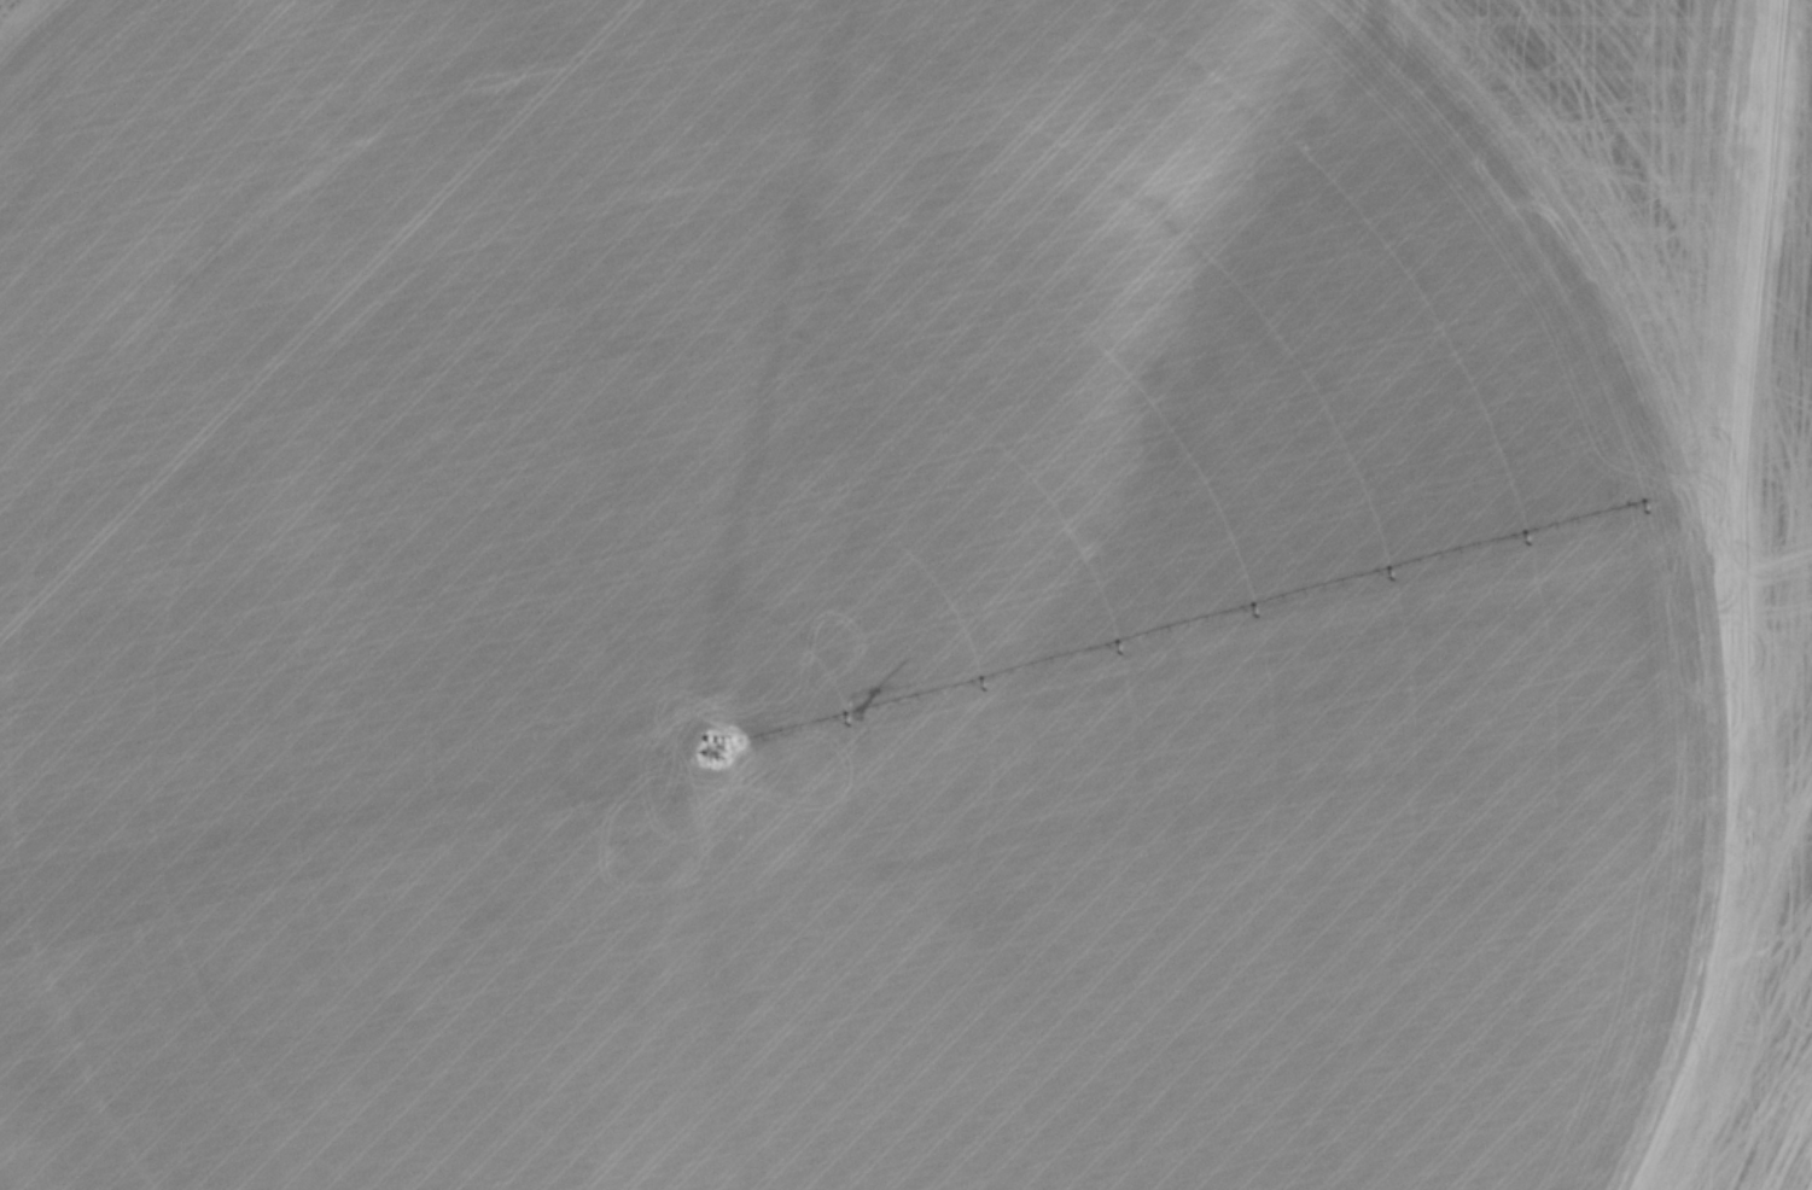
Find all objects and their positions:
crop: (818, 611)

